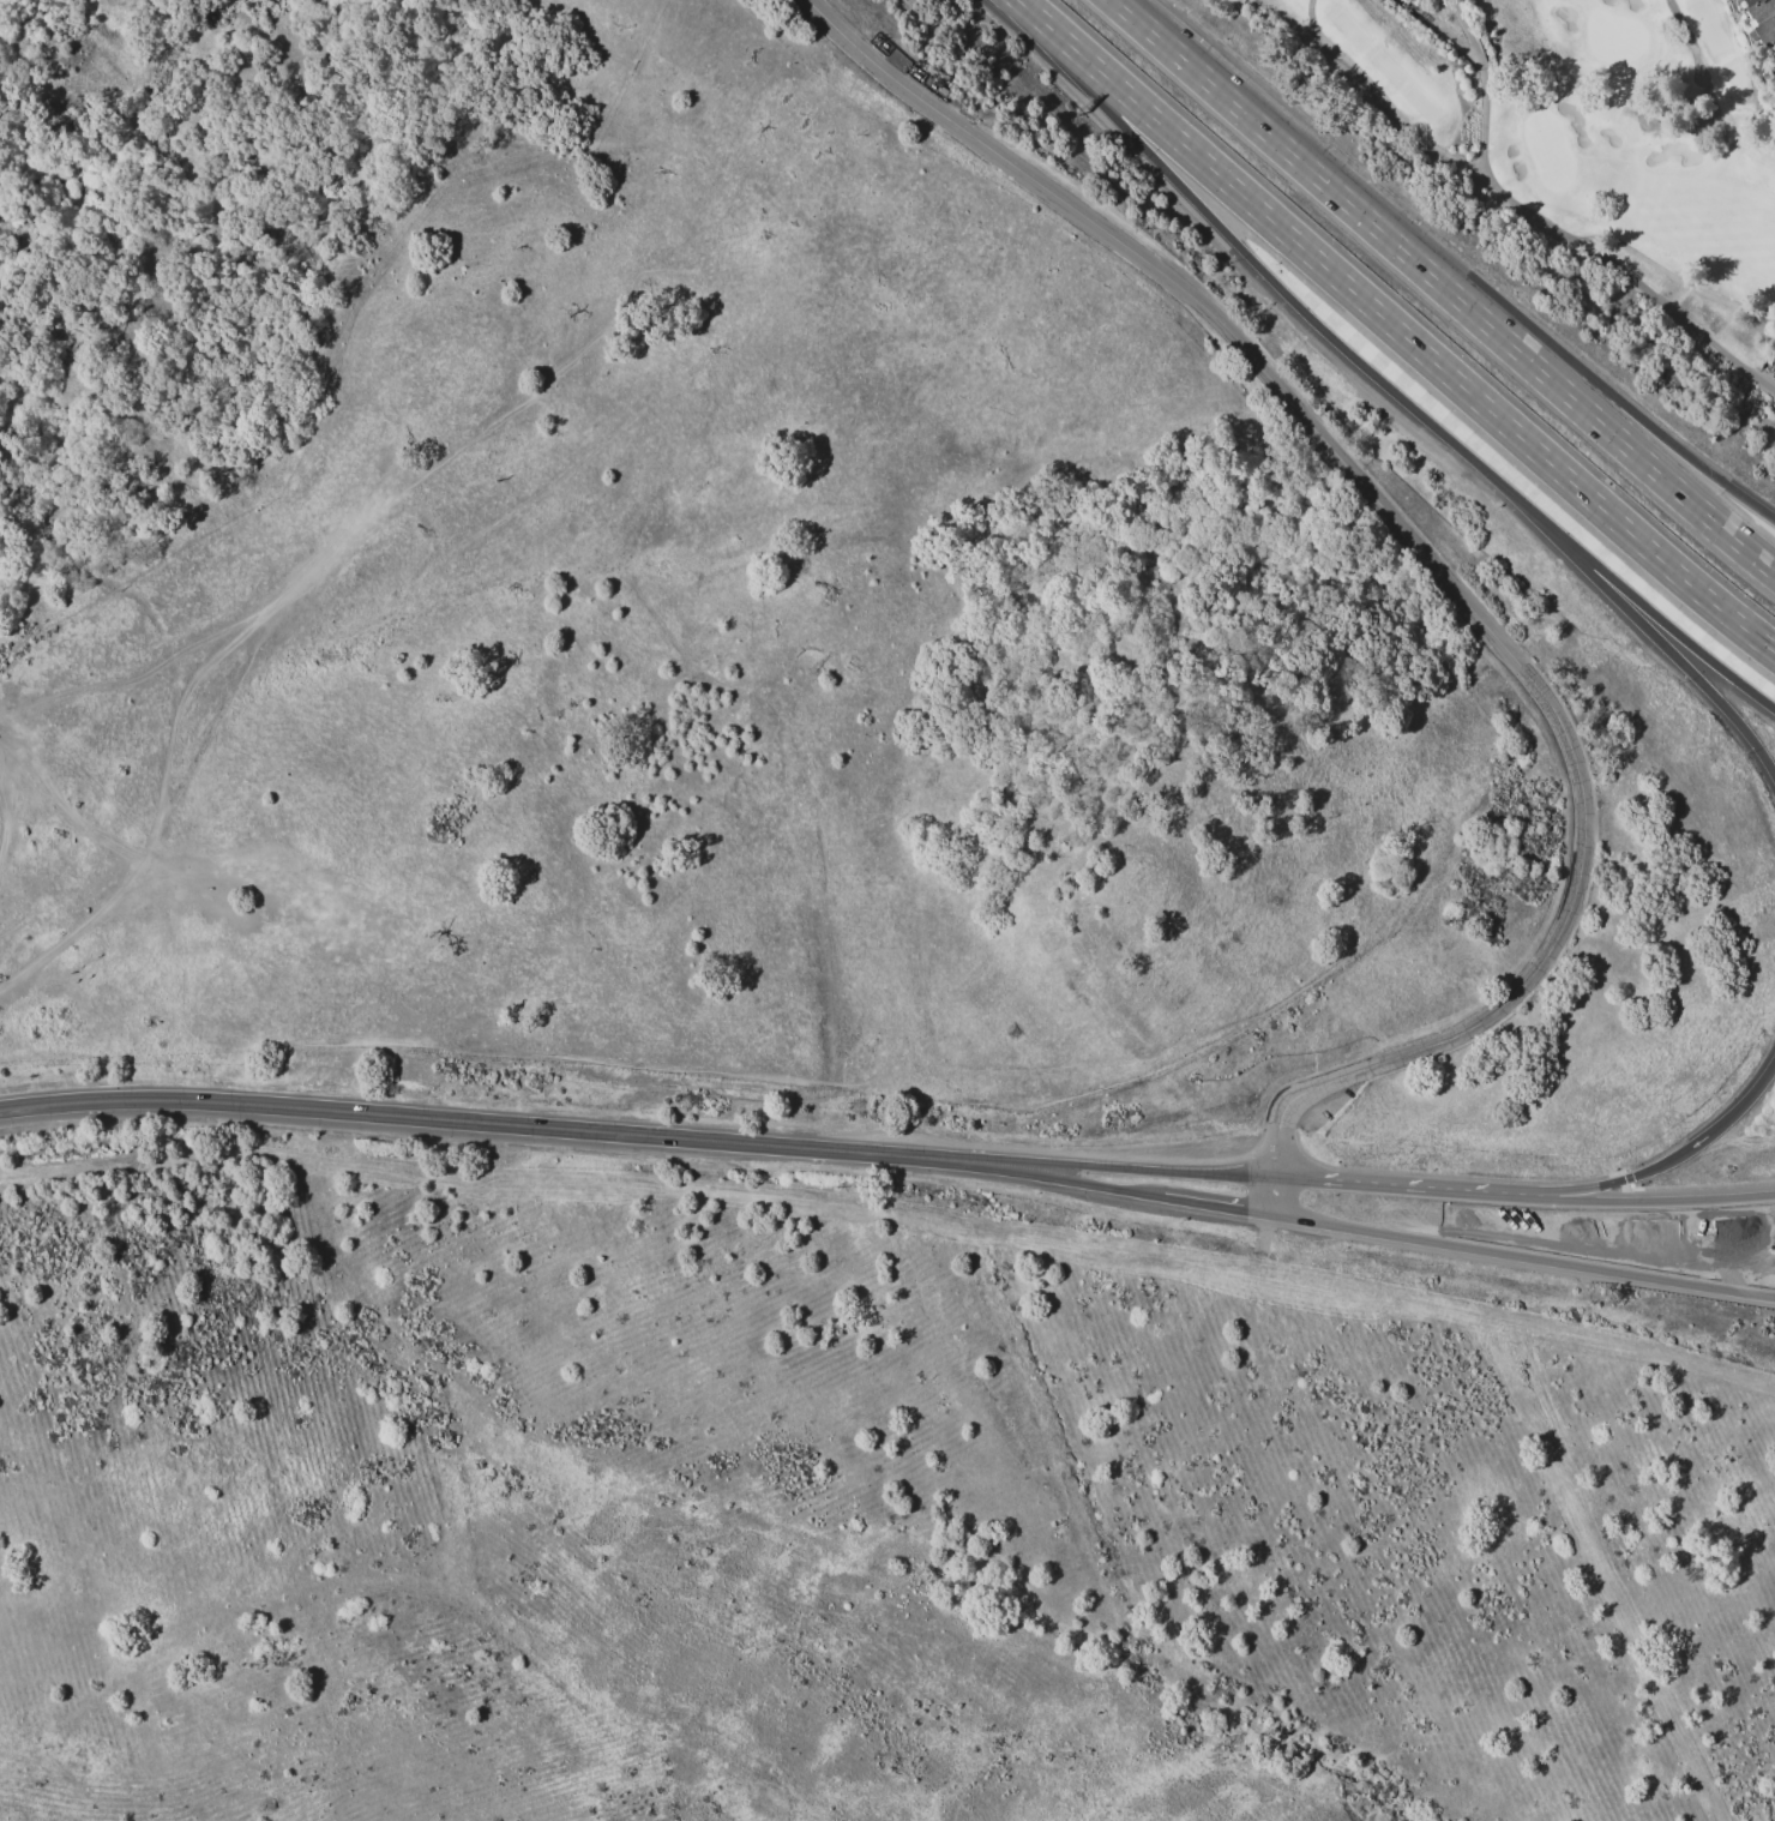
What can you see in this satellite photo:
building: (1762, 19)
road: (1142, 22)
road: (1692, 37)
building: (1774, 65)
road: (1485, 82)
building: (938, 91)
road: (1382, 101)
park: (1577, 127)
road: (1625, 246)
road: (1274, 282)
road: (1470, 283)
road: (1470, 307)
road: (1681, 319)
road: (1394, 327)
road: (1440, 572)
road: (1666, 626)
road: (1671, 654)
road: (446, 1120)
road: (1674, 1162)
road: (1085, 1168)
road: (1027, 1178)
road: (1349, 1186)
road: (1455, 1195)
road: (1631, 1203)
road: (1216, 1208)
road: (1523, 1258)

